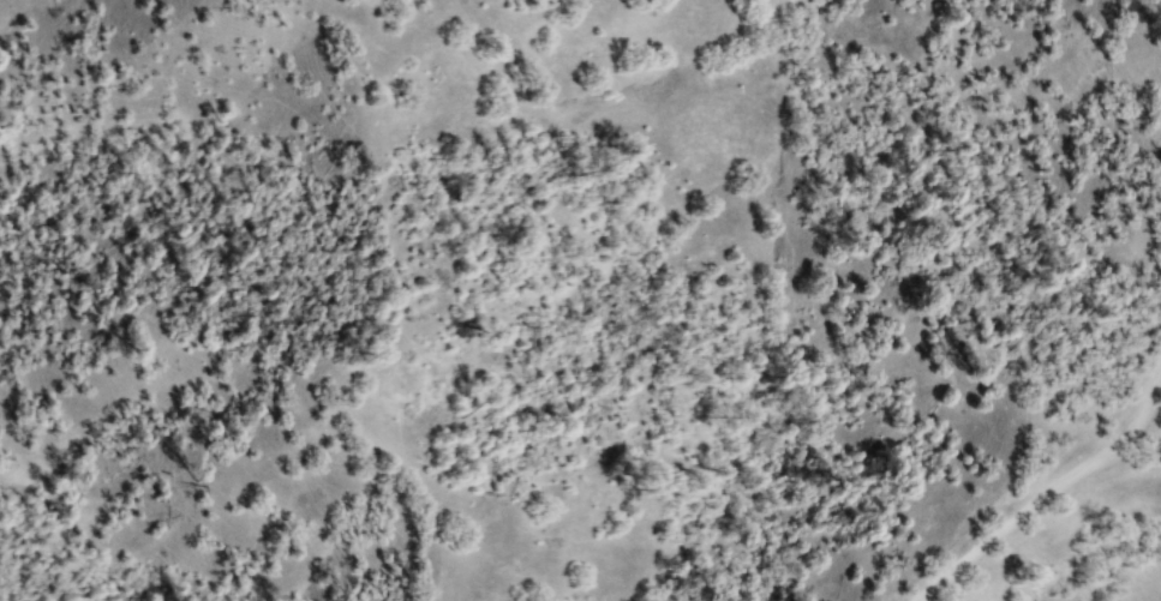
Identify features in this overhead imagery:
road: (1053, 504)

